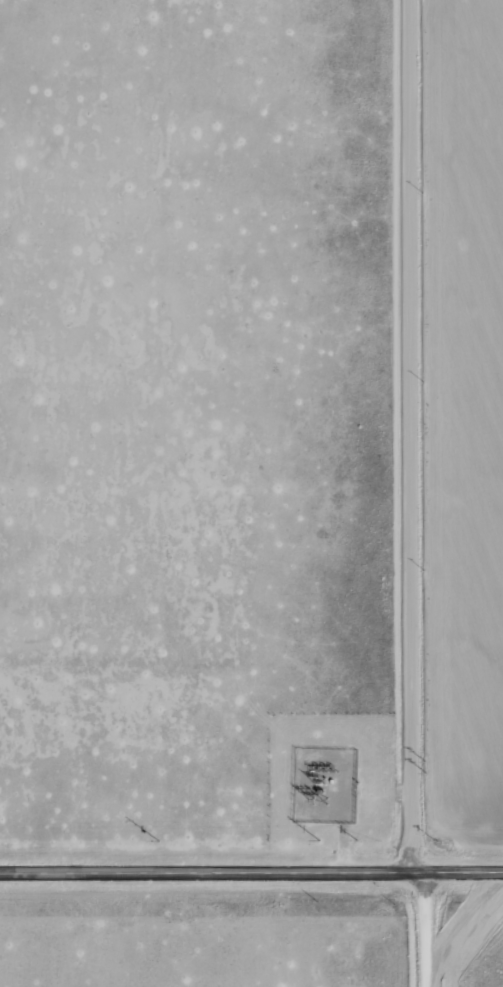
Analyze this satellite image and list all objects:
road: (428, 493)
road: (251, 877)

